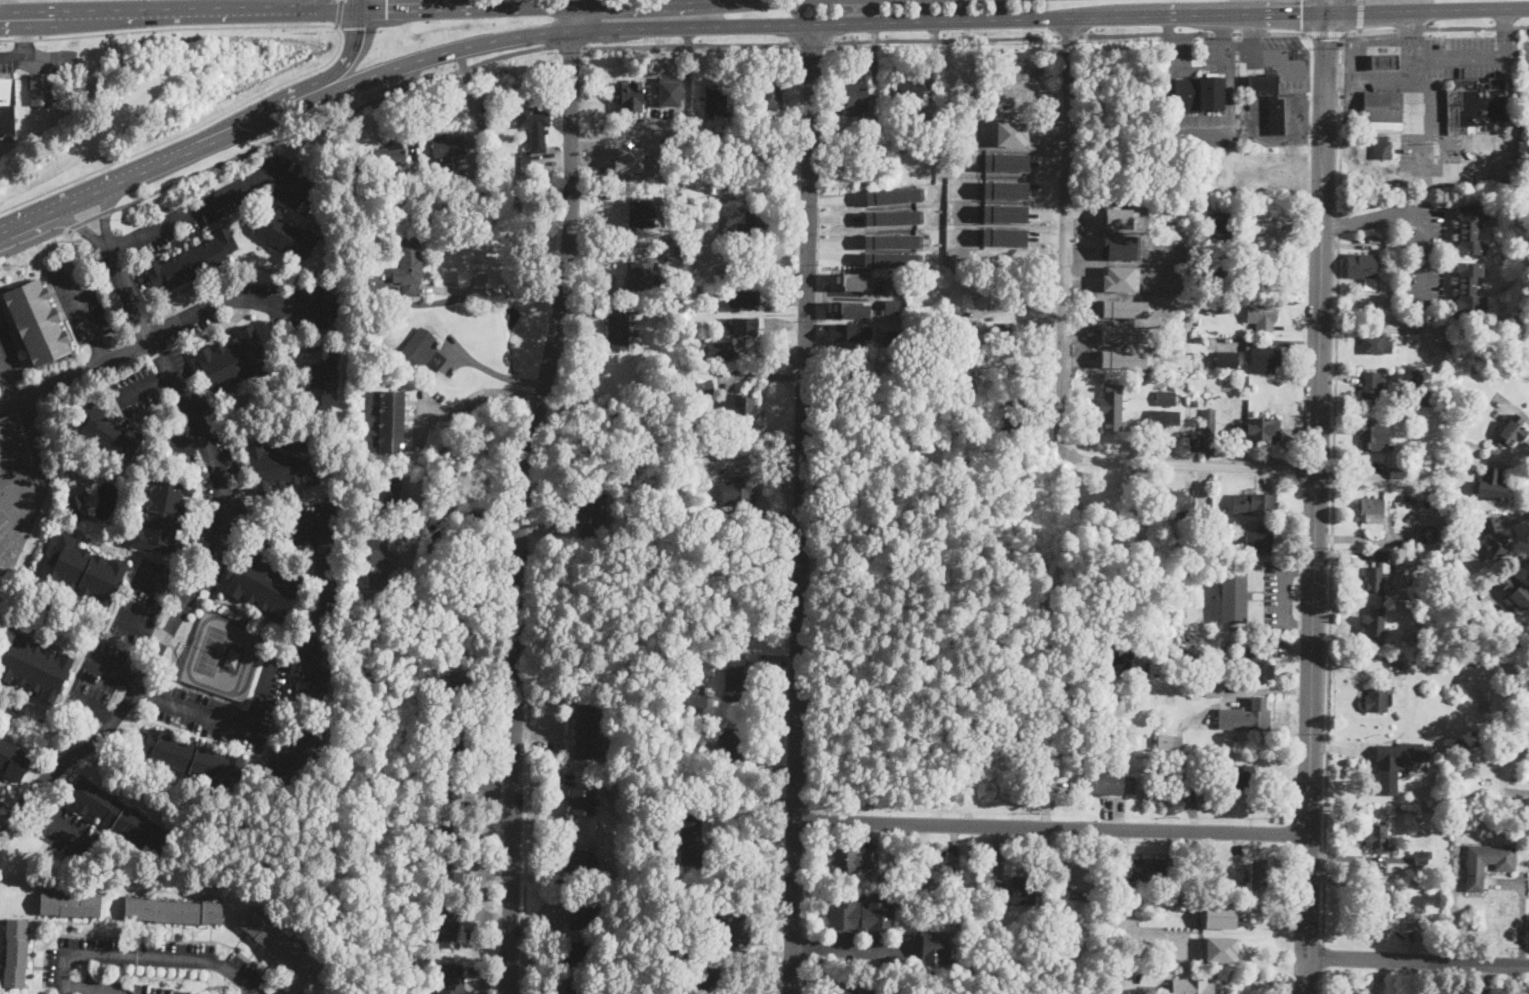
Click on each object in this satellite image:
road: (340, 0)
road: (676, 3)
road: (171, 5)
road: (289, 5)
road: (357, 5)
road: (398, 5)
road: (4, 7)
road: (539, 7)
road: (428, 9)
road: (312, 10)
traffic signals: (386, 10)
road: (159, 11)
road: (337, 13)
road: (26, 14)
traffic signals: (1302, 14)
road: (1360, 15)
road: (1305, 16)
road: (1051, 17)
road: (1222, 26)
traffic signals: (356, 27)
road: (1436, 27)
road: (1170, 29)
road: (1193, 32)
road: (1325, 33)
road: (22, 35)
road: (1071, 35)
traffic signals: (1325, 38)
road: (944, 40)
road: (812, 42)
road: (568, 45)
road: (690, 45)
road: (333, 55)
road: (1482, 56)
road: (12, 57)
building: (1384, 62)
road: (341, 66)
road: (386, 70)
road: (1402, 75)
building: (912, 88)
building: (40, 89)
building: (771, 89)
road: (1169, 89)
building: (669, 90)
building: (1199, 93)
building: (632, 97)
building: (855, 99)
building: (715, 101)
building: (1270, 101)
building: (7, 103)
road: (1231, 104)
building: (1475, 106)
building: (1382, 110)
road: (330, 118)
road: (248, 119)
building: (752, 119)
road: (1342, 123)
building: (1501, 128)
building: (534, 138)
building: (447, 148)
road: (285, 149)
building: (1381, 150)
building: (758, 151)
building: (873, 154)
building: (388, 156)
building: (628, 158)
building: (1005, 161)
building: (1525, 168)
road: (1417, 172)
road: (126, 177)
building: (724, 186)
road: (227, 189)
building: (1004, 189)
building: (653, 194)
building: (891, 195)
parking lot: (233, 200)
road: (1439, 207)
road: (105, 213)
building: (641, 213)
building: (1004, 213)
road: (1423, 213)
building: (891, 217)
road: (91, 219)
road: (23, 221)
building: (753, 224)
road: (1340, 224)
road: (78, 225)
building: (1220, 225)
building: (1467, 231)
building: (284, 232)
road: (1064, 233)
building: (1003, 236)
road: (34, 238)
road: (119, 241)
building: (890, 241)
building: (1128, 244)
building: (368, 248)
building: (889, 258)
building: (192, 261)
building: (408, 268)
building: (1362, 268)
building: (1220, 273)
building: (641, 275)
building: (849, 280)
building: (1466, 285)
building: (979, 287)
road: (128, 292)
building: (330, 292)
road: (497, 292)
building: (675, 296)
parking lot: (79, 298)
building: (745, 299)
road: (241, 300)
road: (1014, 305)
building: (891, 306)
parking lot: (256, 307)
building: (848, 308)
road: (84, 313)
building: (395, 314)
building: (945, 315)
building: (1262, 316)
building: (1451, 316)
building: (37, 322)
building: (744, 325)
building: (1125, 330)
building: (847, 332)
building: (619, 333)
building: (1412, 334)
building: (1007, 335)
building: (1201, 338)
building: (969, 341)
building: (1375, 344)
building: (716, 349)
parking lot: (7, 352)
building: (421, 353)
building: (1264, 356)
building: (1226, 359)
building: (233, 361)
road: (77, 372)
road: (499, 374)
building: (855, 374)
building: (321, 376)
road: (6, 379)
building: (1190, 379)
building: (964, 381)
building: (1420, 381)
road: (146, 384)
building: (930, 385)
building: (1371, 385)
building: (707, 387)
parking lot: (136, 388)
building: (885, 391)
road: (484, 393)
building: (1165, 398)
building: (739, 405)
building: (1110, 405)
building: (173, 415)
building: (1165, 418)
road: (1526, 418)
building: (1013, 419)
building: (390, 421)
building: (1263, 429)
building: (1510, 432)
building: (108, 433)
building: (1204, 433)
building: (1372, 438)
building: (11, 446)
road: (184, 446)
road: (756, 450)
building: (283, 464)
road: (1190, 464)
road: (1511, 466)
building: (1397, 468)
parking lot: (223, 470)
road: (38, 481)
building: (1489, 484)
building: (737, 492)
building: (390, 493)
road: (522, 494)
road: (1317, 496)
road: (419, 498)
building: (1171, 501)
building: (1425, 501)
building: (1413, 502)
building: (1253, 503)
building: (1370, 507)
building: (77, 508)
road: (802, 509)
road: (447, 511)
building: (162, 513)
building: (589, 516)
road: (1516, 517)
building: (1425, 534)
road: (317, 535)
building: (1493, 536)
building: (1259, 540)
building: (1401, 555)
building: (1408, 558)
building: (379, 562)
road: (1520, 562)
building: (83, 571)
building: (1376, 572)
parking lot: (326, 575)
building: (264, 586)
road: (162, 588)
road: (1331, 589)
building: (1515, 590)
road: (1280, 593)
building: (1234, 595)
parking lot: (144, 601)
road: (184, 604)
building: (1183, 612)
building: (460, 615)
building: (1374, 621)
road: (141, 626)
building: (1417, 637)
building: (1244, 641)
building: (1190, 654)
building: (751, 655)
building: (1127, 656)
building: (1177, 656)
building: (1436, 658)
building: (1456, 658)
building: (1486, 660)
building: (1495, 660)
building: (35, 667)
building: (1256, 667)
building: (313, 668)
road: (113, 671)
parking lot: (95, 680)
building: (736, 680)
building: (217, 683)
building: (462, 688)
building: (701, 689)
building: (421, 691)
building: (1214, 691)
building: (1195, 696)
building: (1377, 699)
parking lot: (226, 708)
road: (96, 710)
building: (1246, 715)
building: (1395, 715)
road: (229, 724)
building: (585, 733)
building: (457, 739)
road: (1053, 739)
building: (416, 741)
building: (1168, 741)
building: (1456, 747)
building: (732, 749)
building: (295, 754)
building: (1069, 759)
building: (193, 760)
building: (12, 761)
building: (1477, 764)
building: (1392, 765)
building: (1408, 771)
building: (1196, 772)
building: (1171, 773)
building: (1242, 777)
building: (1111, 783)
parking lot: (1, 787)
building: (448, 789)
building: (581, 802)
road: (7, 810)
building: (631, 810)
building: (118, 816)
road: (525, 824)
road: (60, 826)
road: (1053, 827)
parking lot: (71, 832)
building: (450, 832)
building: (691, 838)
building: (1378, 838)
building: (25, 842)
building: (1420, 857)
building: (853, 859)
building: (579, 861)
building: (1486, 863)
building: (1146, 868)
building: (451, 871)
building: (1257, 873)
building: (1075, 877)
building: (933, 882)
building: (1440, 883)
building: (1016, 892)
building: (69, 905)
building: (1379, 905)
building: (946, 909)
building: (173, 912)
building: (581, 914)
building: (1217, 915)
building: (861, 916)
building: (1109, 916)
road: (1521, 919)
building: (446, 920)
building: (1413, 921)
building: (1177, 925)
building: (734, 927)
building: (681, 942)
building: (278, 945)
road: (850, 946)
building: (932, 947)
building: (1057, 950)
building: (15, 953)
building: (581, 954)
road: (147, 957)
building: (1141, 957)
parking lot: (149, 958)
building: (1132, 958)
road: (1324, 961)
road: (1417, 961)
building: (1146, 977)
building: (451, 978)
building: (711, 981)
road: (1323, 985)
parking lot: (122, 986)
road: (85, 987)
building: (863, 987)
building: (1189, 987)
building: (578, 988)
building: (301, 993)

